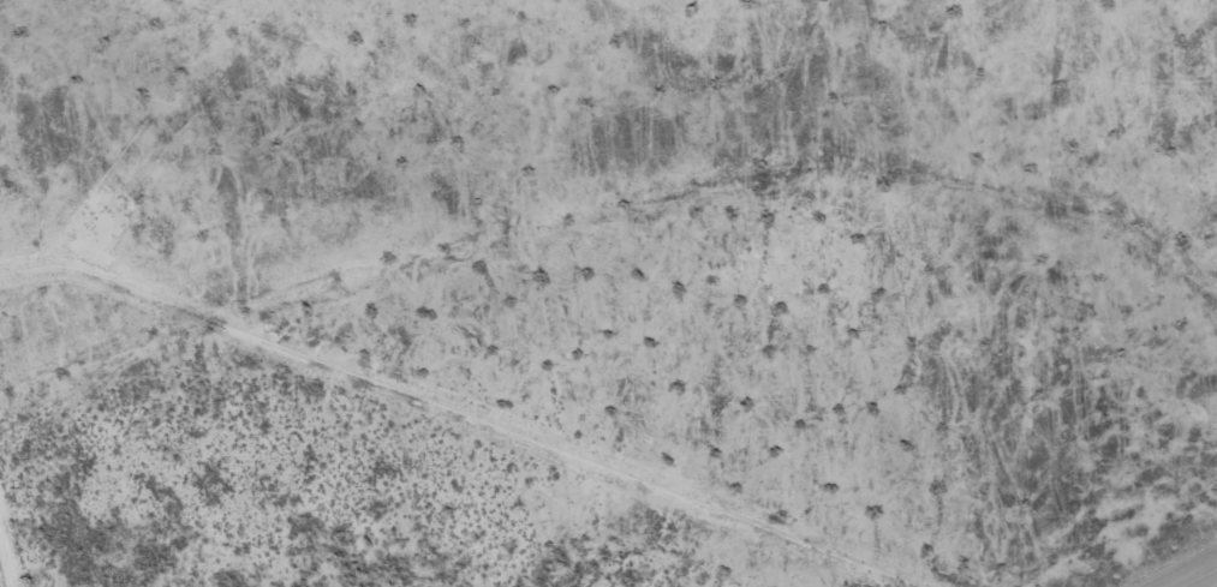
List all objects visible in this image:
road: (0, 582)

